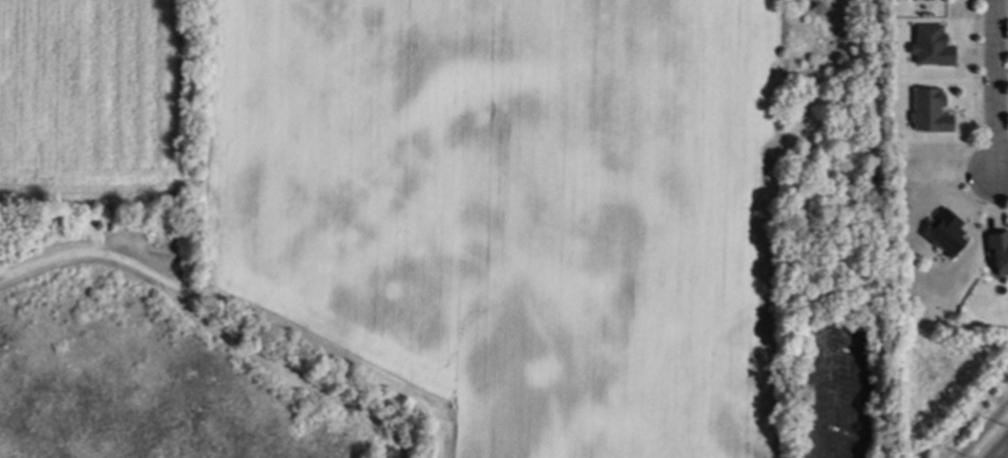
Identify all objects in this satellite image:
building: (930, 47)
road: (997, 85)
building: (928, 113)
building: (945, 234)
building: (998, 252)
road: (838, 329)
road: (1003, 452)

